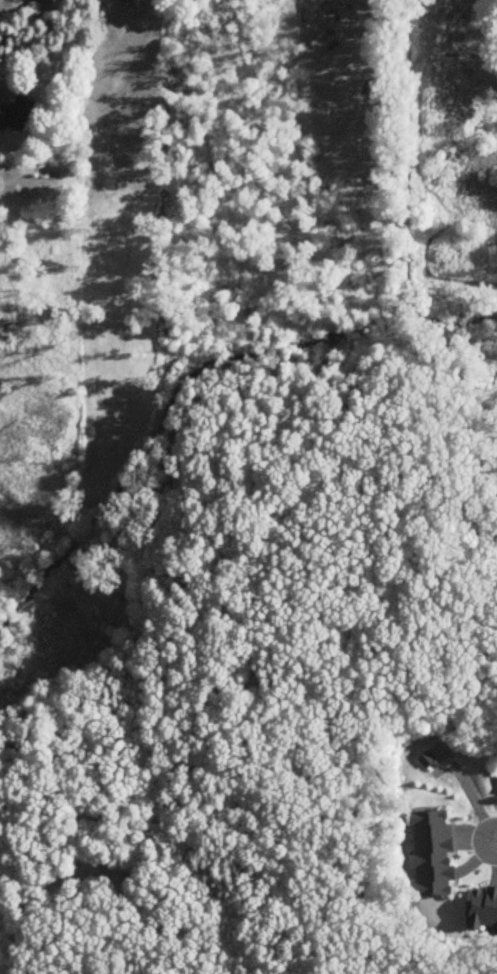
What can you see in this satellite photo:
building: (18, 116)
building: (428, 760)
road: (496, 841)

